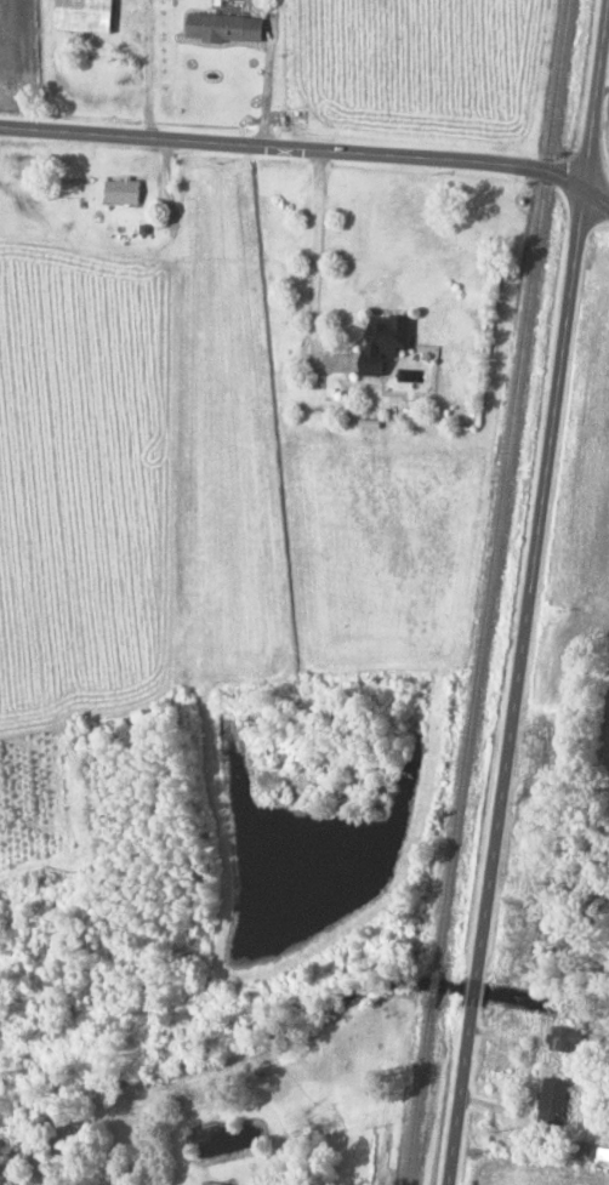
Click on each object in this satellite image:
road: (607, 7)
building: (87, 16)
building: (218, 24)
road: (308, 142)
building: (124, 190)
building: (388, 341)
railway: (502, 485)
road: (540, 489)
railway: (434, 989)
road: (472, 993)
building: (568, 1038)
railway: (419, 1095)
road: (457, 1095)
building: (554, 1101)
building: (601, 1155)
building: (210, 1184)

